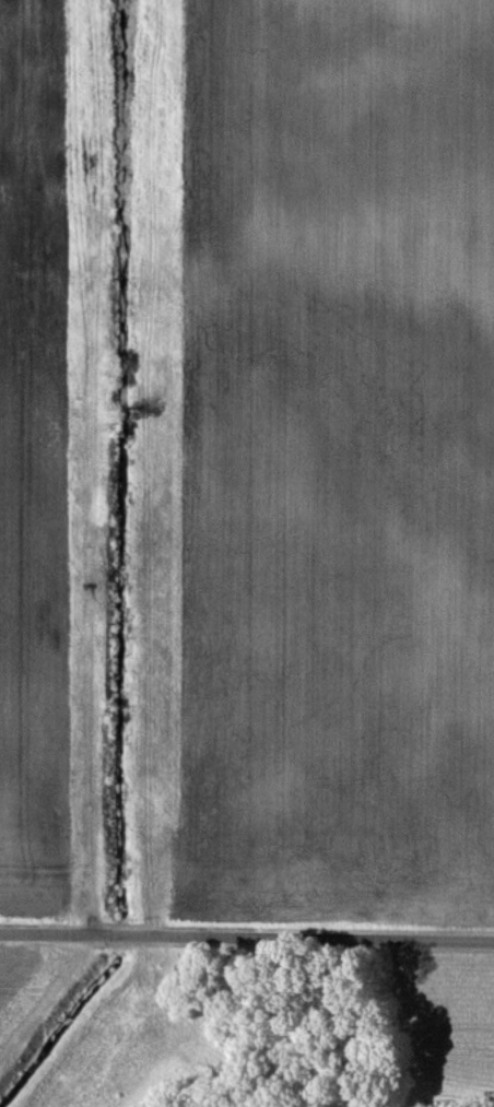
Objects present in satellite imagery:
road: (247, 929)

